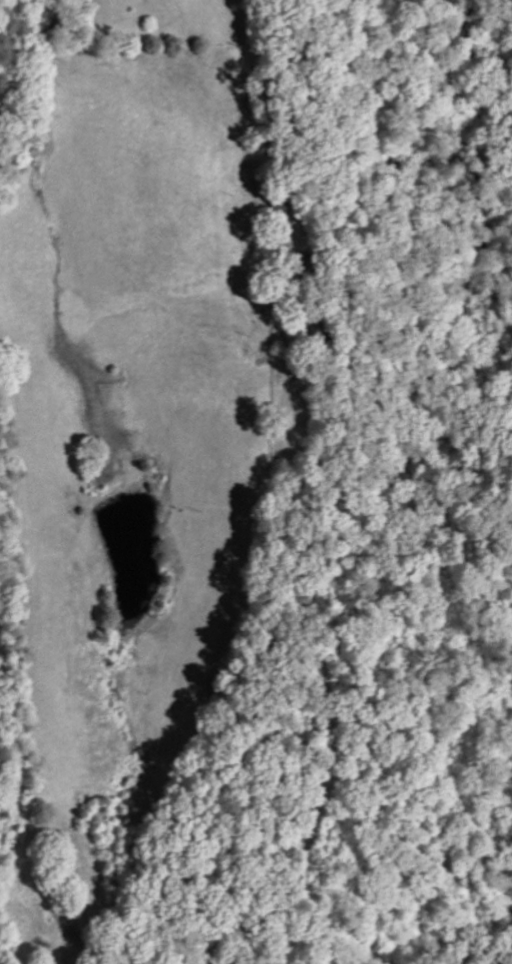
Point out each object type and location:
road: (294, 879)
road: (3, 957)

